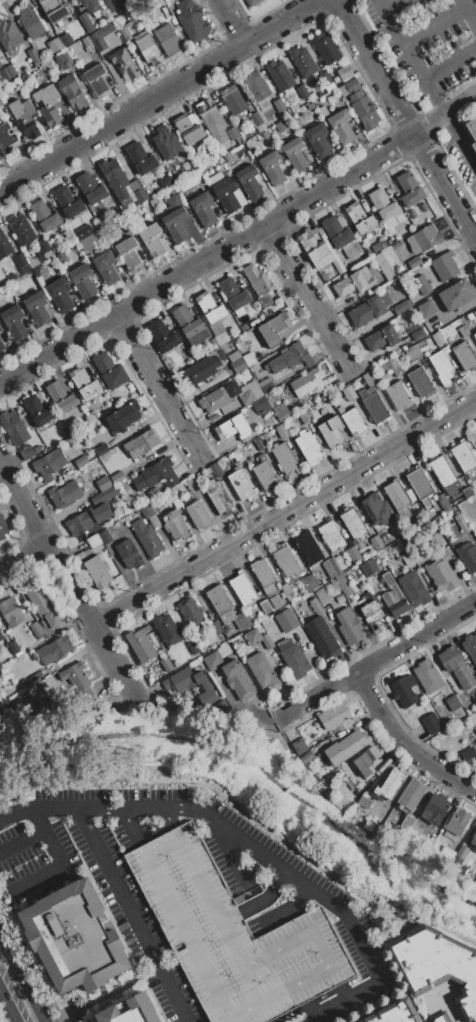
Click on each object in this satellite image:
road: (378, 1)
road: (381, 1)
building: (251, 2)
building: (89, 5)
building: (107, 6)
building: (56, 9)
road: (468, 10)
building: (192, 20)
building: (31, 22)
road: (231, 22)
building: (86, 24)
road: (435, 25)
building: (125, 33)
building: (9, 35)
building: (100, 37)
building: (65, 39)
building: (167, 40)
building: (86, 41)
road: (401, 41)
building: (54, 45)
building: (149, 49)
building: (327, 50)
building: (33, 56)
building: (63, 59)
building: (302, 61)
building: (124, 63)
road: (450, 63)
building: (7, 72)
building: (345, 72)
building: (279, 76)
building: (325, 78)
building: (97, 80)
building: (315, 81)
building: (256, 86)
building: (329, 86)
building: (349, 87)
building: (302, 91)
building: (73, 92)
road: (159, 95)
road: (435, 95)
building: (233, 100)
building: (48, 105)
building: (279, 105)
building: (293, 107)
building: (322, 109)
building: (363, 110)
road: (444, 113)
building: (24, 117)
building: (256, 119)
building: (212, 121)
road: (404, 121)
building: (281, 125)
building: (341, 126)
building: (190, 128)
building: (472, 131)
building: (233, 133)
building: (5, 138)
road: (461, 138)
building: (318, 140)
building: (167, 143)
building: (296, 154)
building: (141, 158)
building: (272, 167)
building: (115, 178)
building: (215, 179)
building: (249, 181)
building: (165, 182)
building: (91, 188)
building: (409, 189)
building: (226, 194)
building: (139, 195)
building: (68, 201)
building: (173, 202)
building: (382, 205)
building: (204, 208)
building: (44, 215)
building: (359, 218)
building: (176, 224)
building: (21, 229)
building: (81, 233)
building: (341, 236)
building: (427, 237)
building: (152, 239)
road: (475, 240)
building: (87, 241)
building: (379, 245)
building: (4, 246)
building: (319, 248)
building: (44, 251)
building: (129, 253)
building: (61, 256)
road: (206, 259)
building: (414, 262)
building: (21, 263)
building: (444, 265)
building: (105, 266)
building: (384, 267)
building: (82, 280)
building: (354, 282)
building: (422, 284)
building: (261, 286)
building: (234, 293)
building: (457, 294)
building: (60, 295)
road: (308, 299)
building: (402, 306)
building: (36, 307)
building: (210, 307)
building: (426, 308)
building: (369, 309)
building: (469, 316)
building: (14, 322)
building: (190, 325)
building: (0, 327)
building: (244, 327)
building: (274, 329)
building: (462, 330)
building: (163, 335)
building: (418, 335)
building: (475, 335)
building: (381, 338)
building: (438, 338)
building: (1, 346)
building: (413, 351)
building: (221, 354)
building: (234, 356)
building: (464, 356)
building: (289, 358)
building: (248, 359)
building: (238, 365)
building: (394, 366)
building: (442, 367)
building: (257, 369)
building: (201, 370)
building: (110, 371)
building: (369, 378)
building: (83, 382)
building: (306, 382)
building: (420, 382)
road: (157, 385)
building: (266, 385)
building: (245, 392)
building: (349, 393)
building: (398, 395)
building: (60, 396)
building: (214, 399)
building: (335, 403)
building: (373, 404)
building: (261, 405)
building: (37, 410)
building: (282, 411)
building: (93, 415)
building: (123, 416)
building: (303, 416)
building: (354, 421)
building: (29, 426)
building: (14, 427)
building: (232, 427)
building: (282, 431)
building: (331, 431)
building: (475, 432)
building: (141, 443)
building: (308, 446)
building: (36, 449)
building: (101, 450)
building: (26, 453)
building: (464, 456)
building: (285, 458)
building: (48, 464)
building: (215, 470)
building: (265, 474)
building: (156, 475)
building: (444, 475)
building: (117, 477)
building: (191, 483)
building: (103, 484)
building: (240, 484)
building: (421, 486)
building: (467, 492)
building: (64, 493)
building: (170, 495)
building: (218, 496)
building: (398, 498)
building: (443, 502)
building: (176, 503)
building: (376, 508)
road: (284, 511)
building: (150, 515)
building: (198, 515)
building: (420, 518)
building: (87, 519)
building: (461, 522)
building: (353, 524)
building: (176, 526)
building: (2, 528)
building: (105, 536)
building: (331, 536)
building: (146, 538)
building: (438, 540)
building: (94, 541)
building: (376, 542)
building: (78, 548)
building: (309, 548)
building: (128, 554)
building: (353, 554)
building: (467, 556)
building: (408, 557)
road: (23, 559)
building: (286, 561)
building: (77, 562)
building: (330, 567)
building: (368, 567)
building: (98, 571)
building: (263, 575)
building: (442, 575)
building: (309, 582)
road: (68, 583)
building: (344, 584)
building: (413, 588)
building: (243, 589)
building: (287, 591)
building: (322, 595)
building: (365, 595)
building: (393, 597)
building: (340, 598)
building: (275, 602)
building: (44, 603)
building: (220, 603)
building: (315, 605)
building: (265, 607)
building: (190, 610)
building: (10, 612)
building: (372, 615)
building: (244, 620)
building: (285, 620)
building: (348, 626)
building: (215, 627)
building: (167, 629)
building: (36, 630)
building: (228, 630)
building: (253, 636)
building: (1, 637)
building: (322, 638)
building: (267, 640)
building: (141, 644)
building: (470, 646)
building: (13, 647)
building: (194, 647)
building: (54, 650)
building: (224, 650)
building: (293, 658)
building: (451, 658)
building: (212, 660)
road: (376, 661)
building: (166, 663)
building: (261, 671)
building: (427, 676)
building: (475, 676)
building: (36, 677)
building: (76, 679)
building: (238, 680)
building: (181, 688)
building: (404, 690)
building: (436, 702)
building: (452, 702)
building: (224, 708)
building: (1, 710)
building: (462, 714)
building: (334, 716)
building: (431, 723)
building: (475, 724)
road: (405, 742)
building: (299, 746)
building: (346, 748)
building: (467, 753)
building: (306, 757)
building: (366, 761)
building: (390, 784)
building: (411, 793)
building: (435, 808)
road: (17, 813)
road: (168, 819)
building: (409, 819)
building: (456, 823)
road: (131, 827)
building: (473, 839)
road: (23, 842)
building: (461, 852)
building: (446, 853)
building: (456, 862)
road: (60, 864)
road: (287, 874)
road: (120, 896)
road: (264, 896)
building: (231, 936)
parking garage: (231, 936)
building: (83, 939)
building: (433, 969)
road: (21, 982)
road: (340, 991)
building: (143, 1011)
building: (393, 1013)
road: (3, 1015)
road: (270, 1020)

